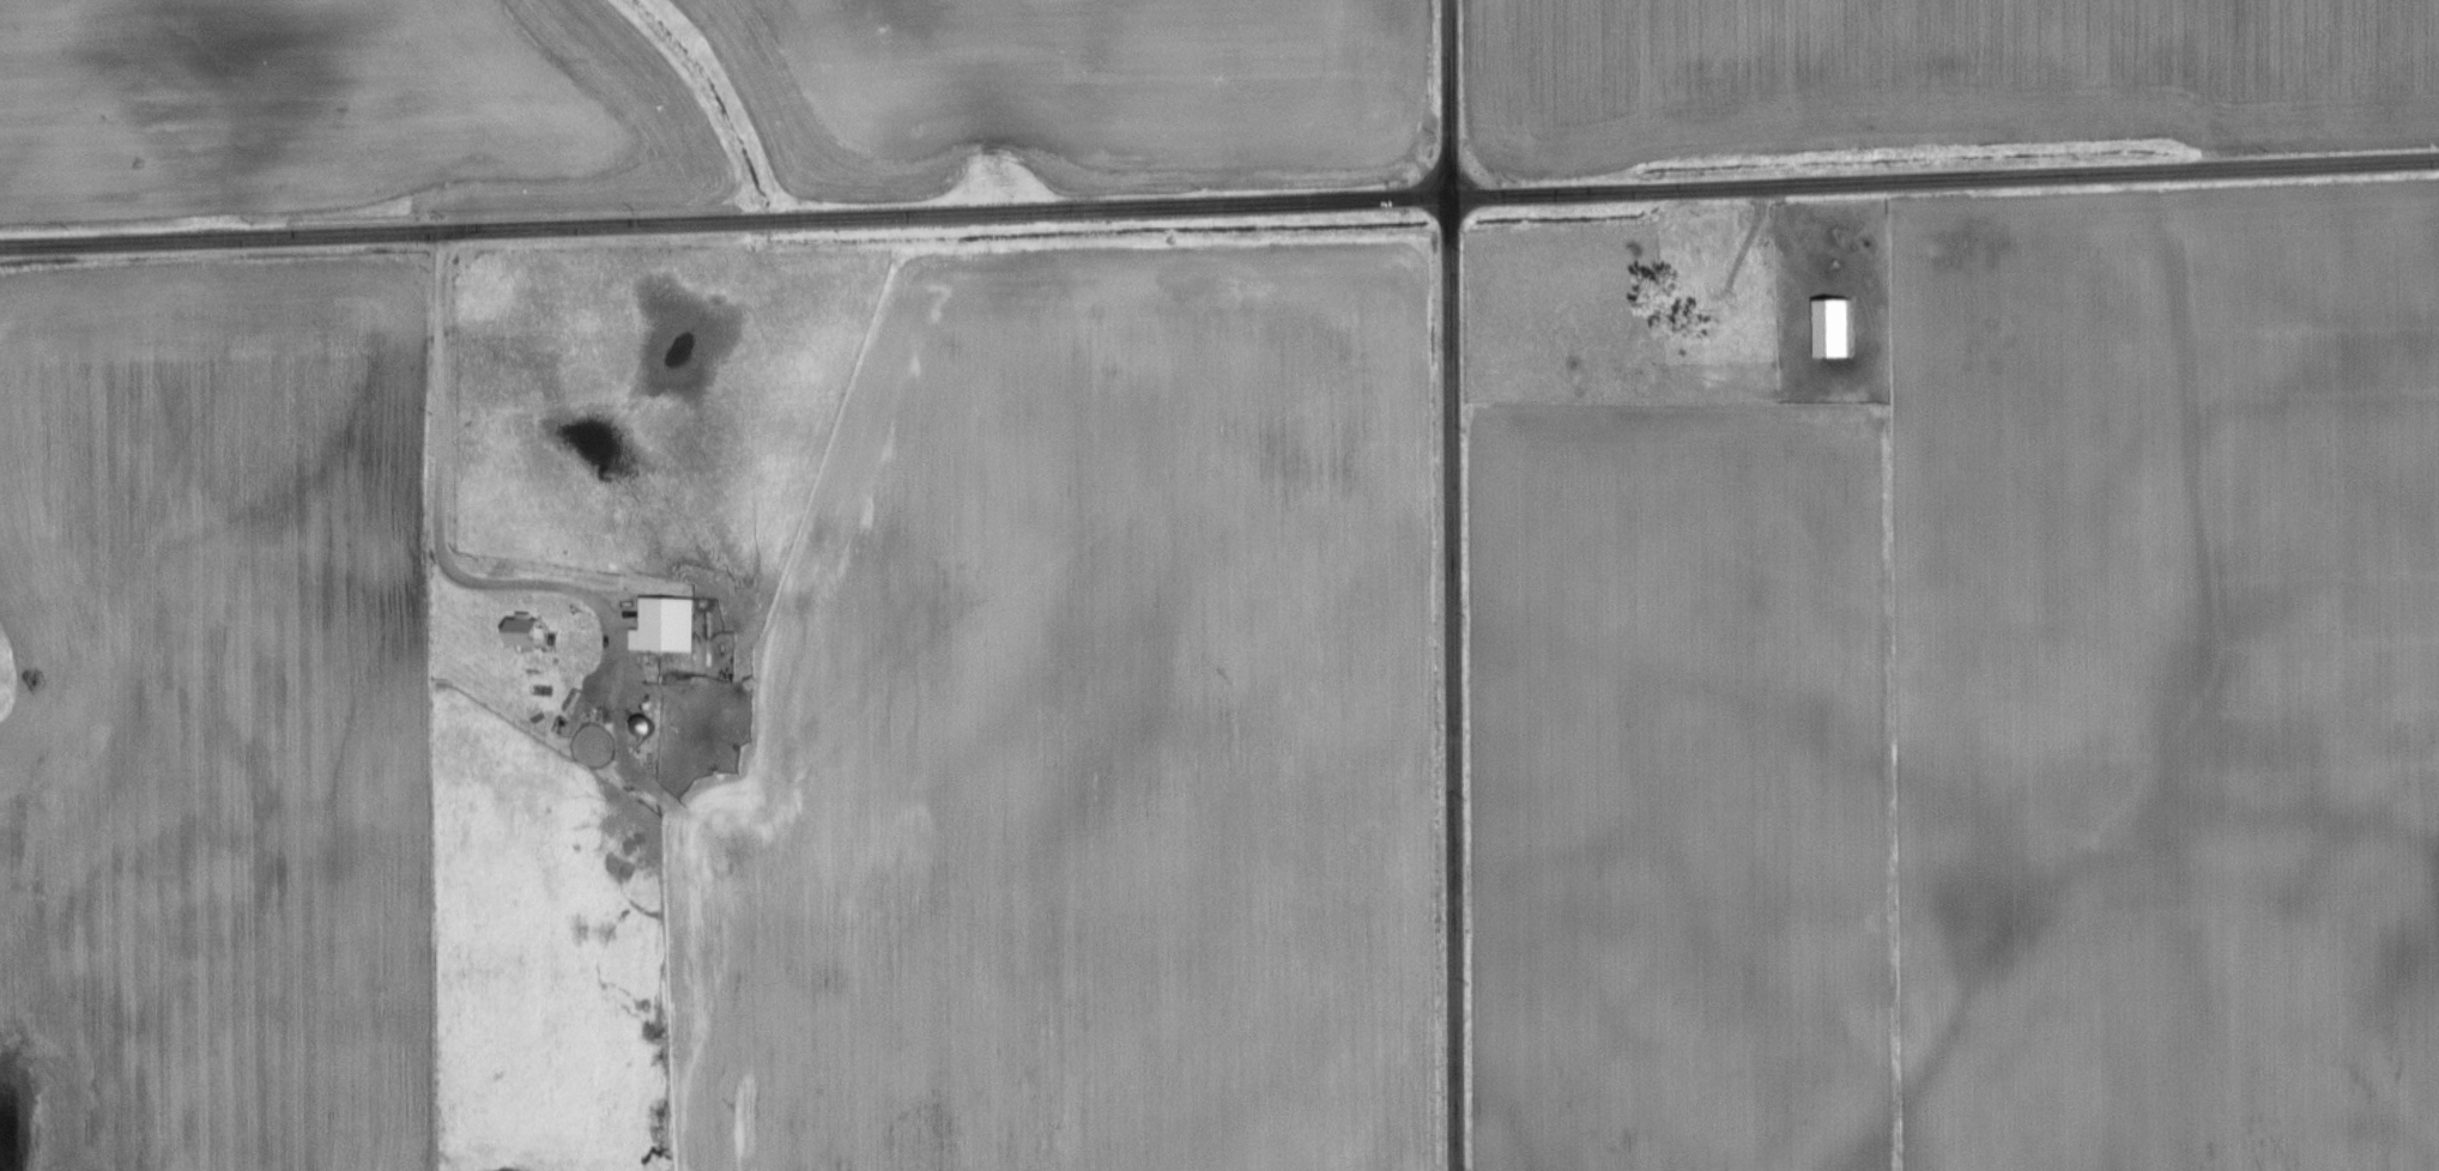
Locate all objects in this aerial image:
road: (1219, 205)
road: (1452, 584)
building: (518, 630)

